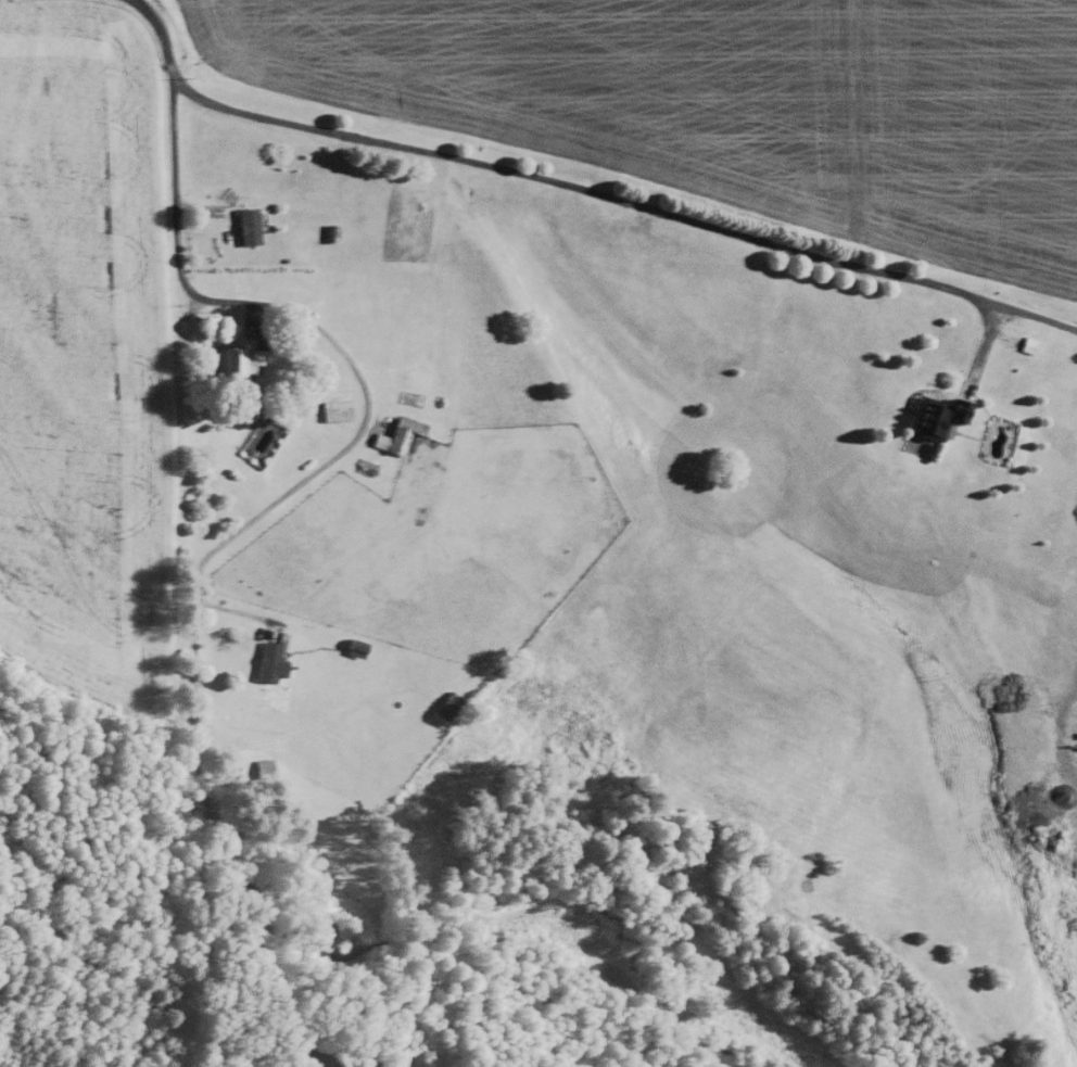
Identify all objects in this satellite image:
road: (172, 138)
road: (622, 199)
building: (245, 226)
building: (231, 358)
building: (333, 408)
building: (933, 414)
building: (395, 434)
building: (267, 661)
road: (191, 669)
building: (262, 766)

